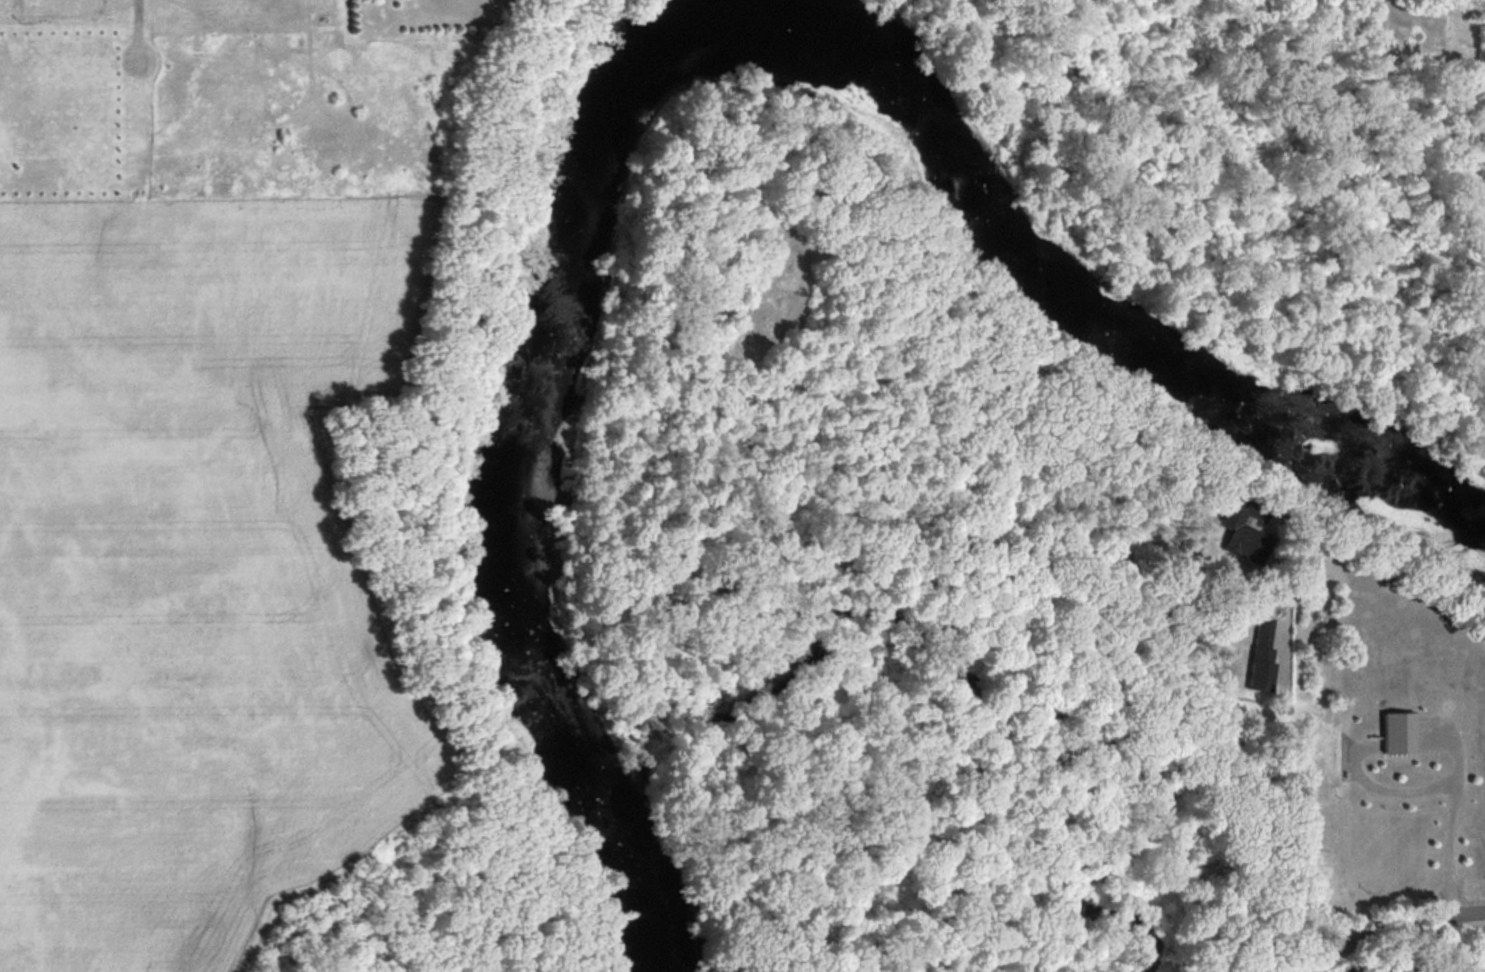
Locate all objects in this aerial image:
river: (666, 55)
building: (1264, 653)
building: (1402, 732)
road: (1399, 926)

